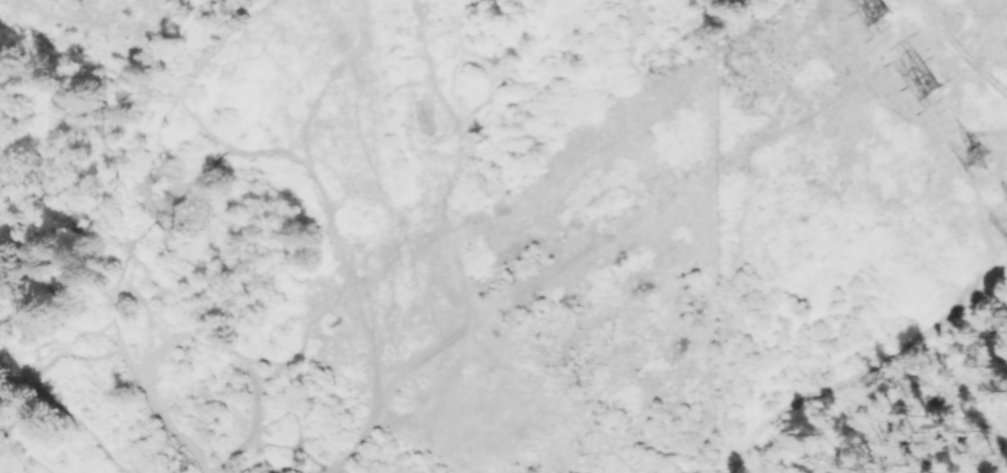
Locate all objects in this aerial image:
power tower: (883, 15)
power tower: (930, 84)
power tower: (980, 164)

